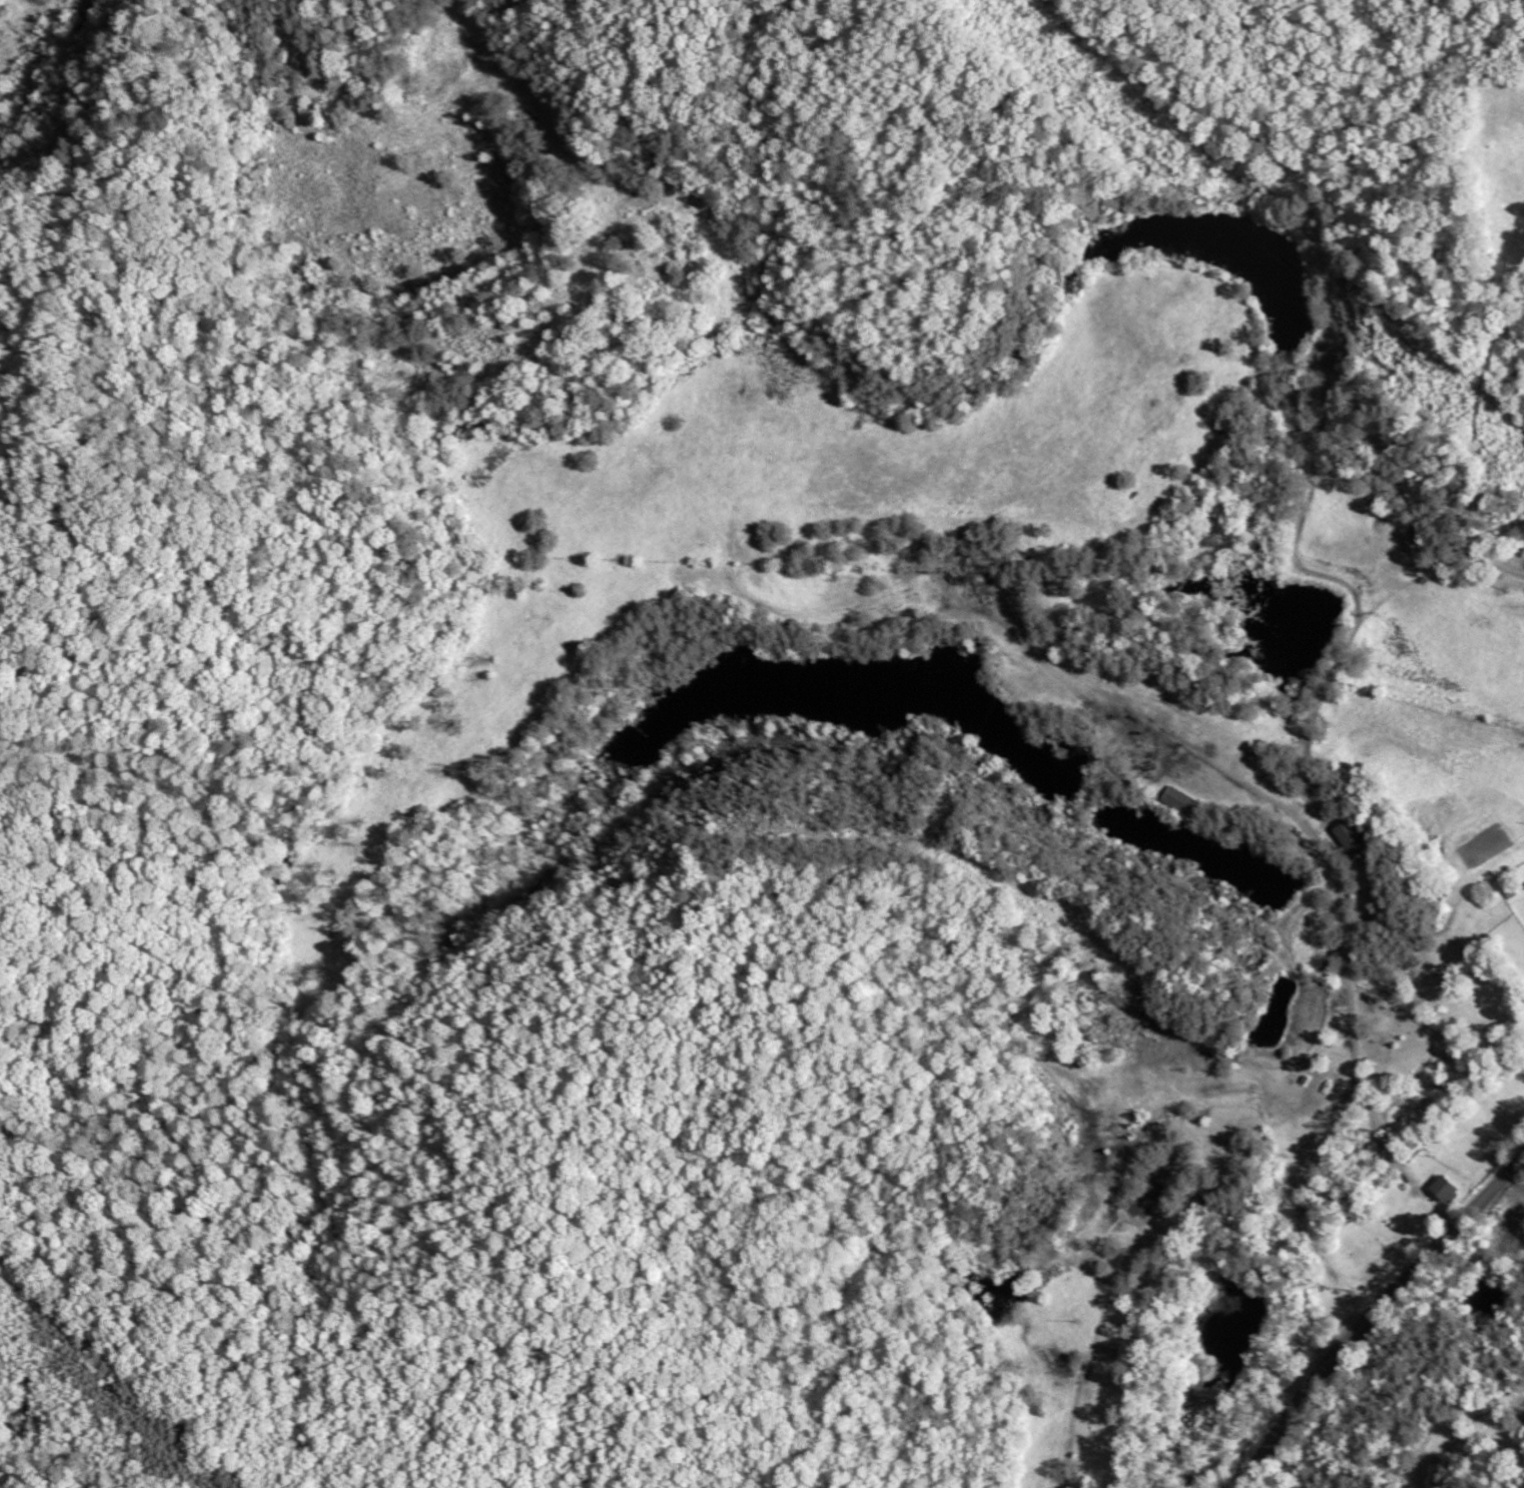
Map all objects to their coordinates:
power tower: (1440, 377)
building: (1185, 802)
building: (1361, 838)
building: (1449, 1190)
road: (1374, 1314)

